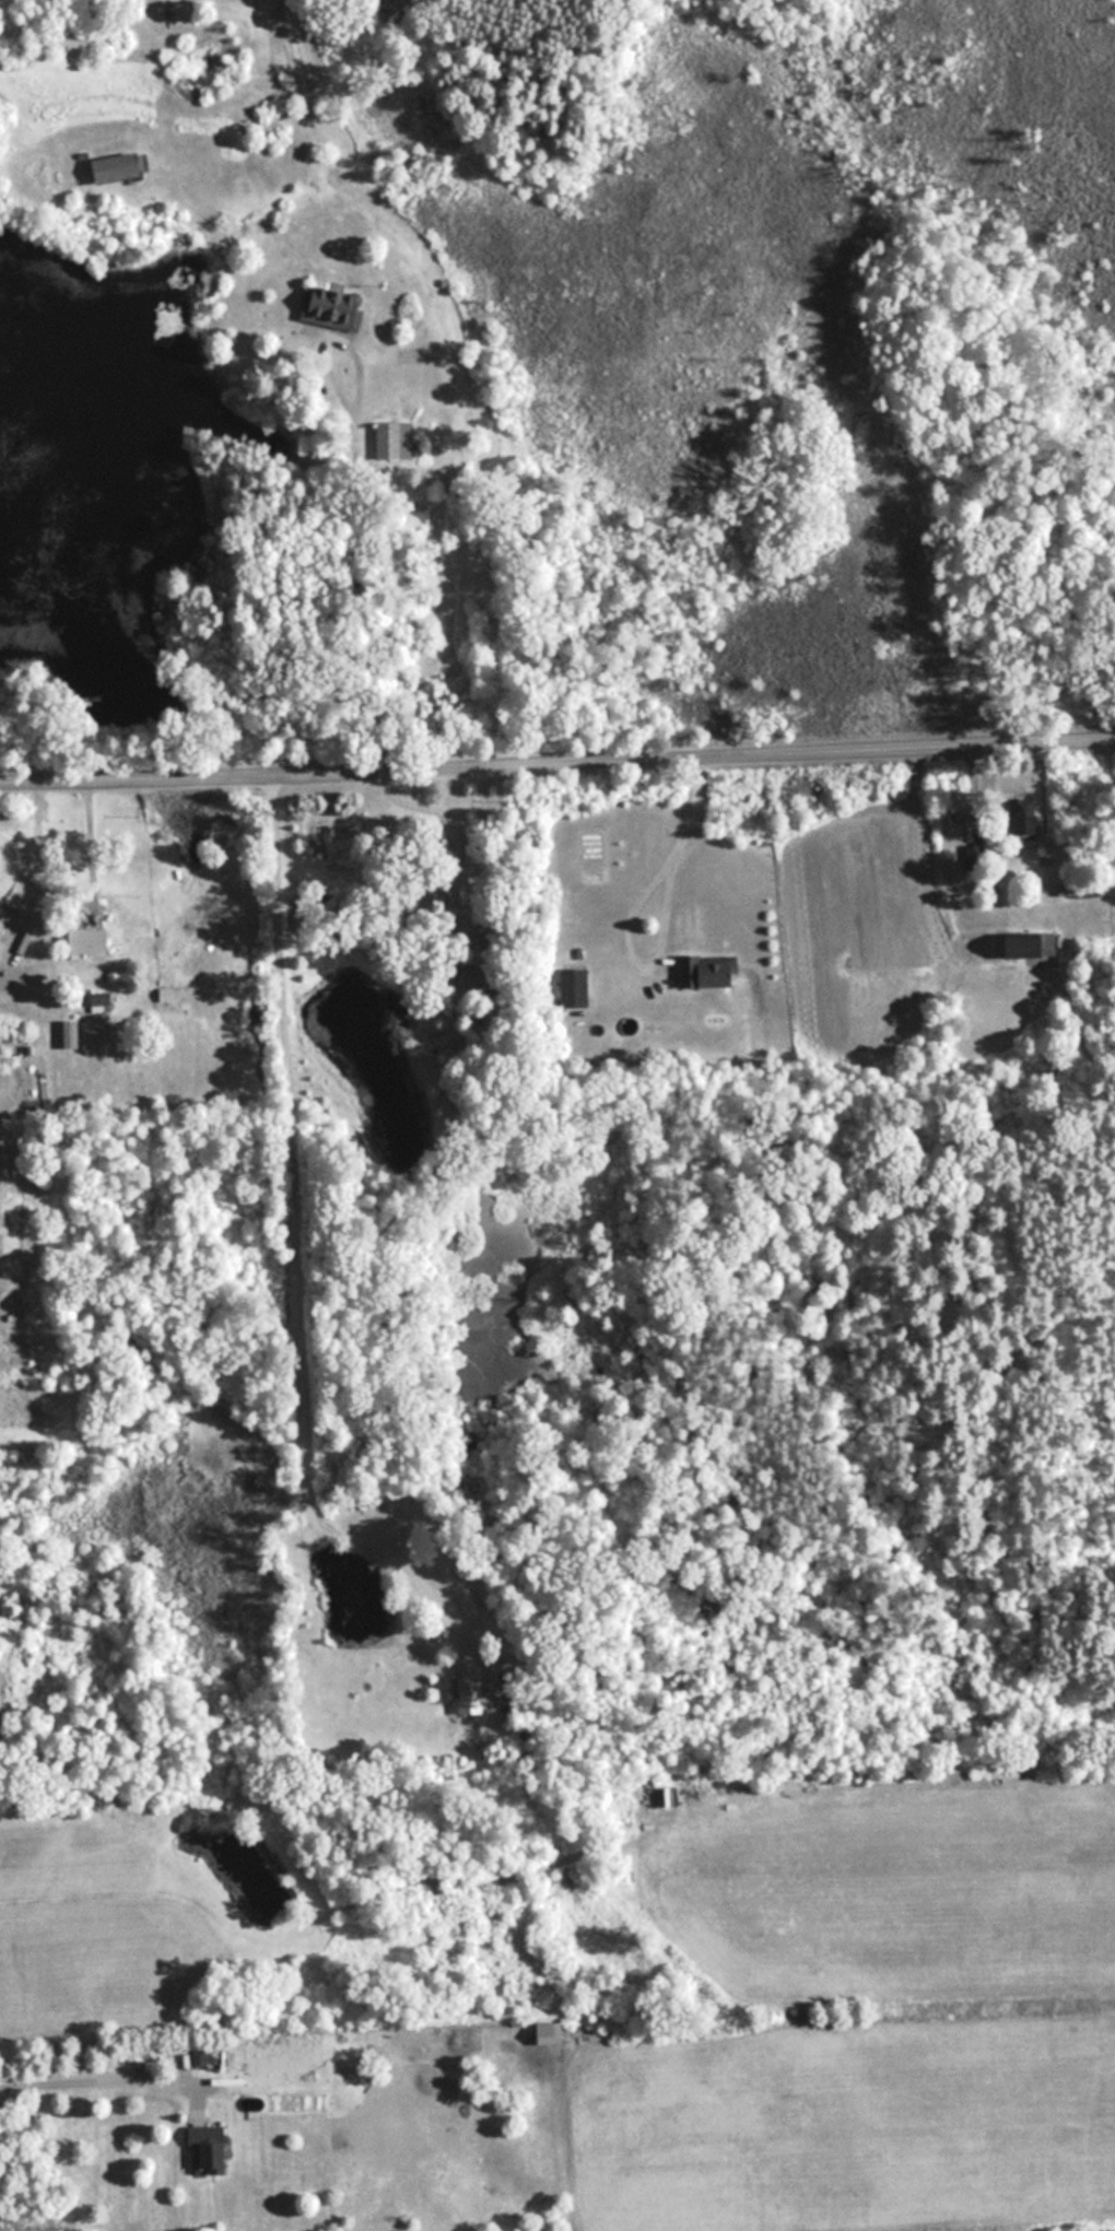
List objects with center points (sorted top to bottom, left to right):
building: (119, 166)
building: (334, 306)
building: (391, 439)
road: (557, 752)
building: (1025, 819)
road: (634, 904)
building: (91, 941)
building: (708, 971)
building: (576, 986)
road: (286, 1200)
building: (466, 1696)
road: (98, 2080)
building: (212, 2148)

